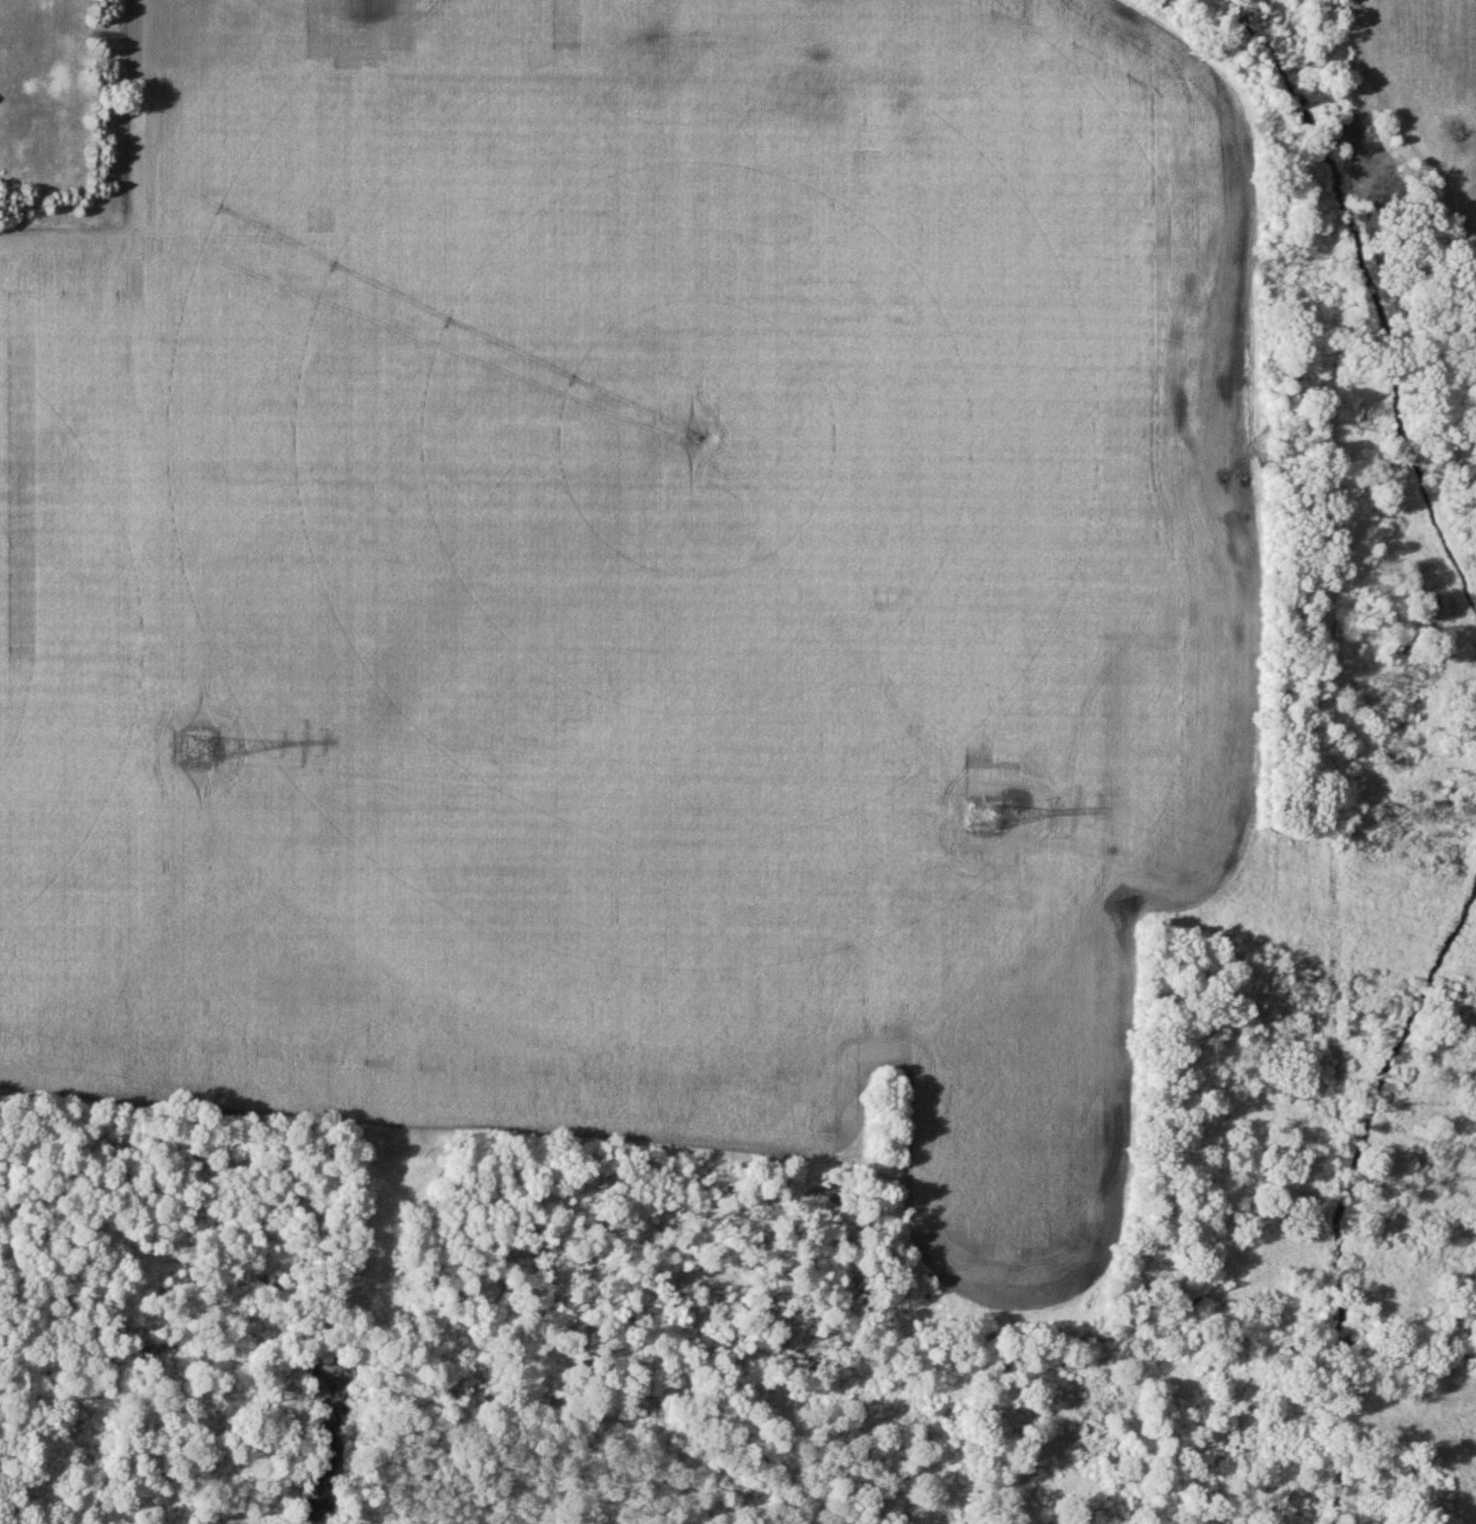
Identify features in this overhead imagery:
power tower: (195, 745)
power tower: (987, 813)

